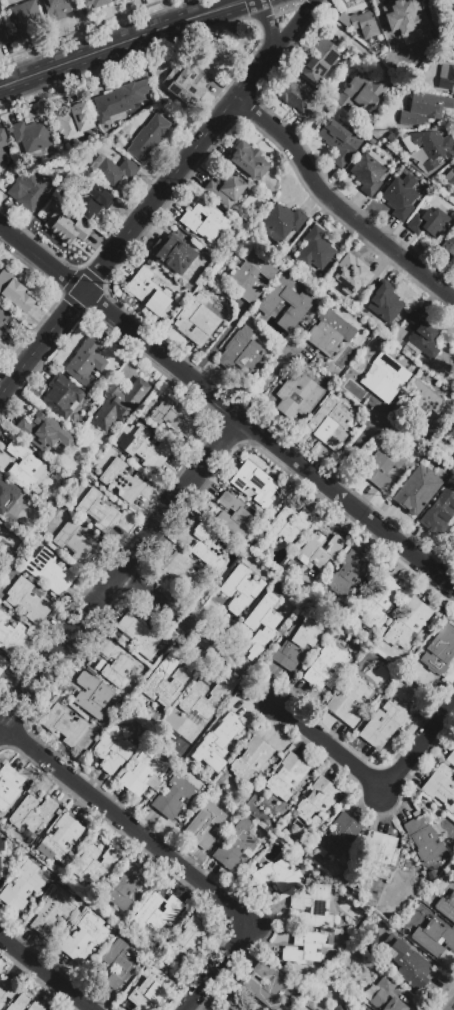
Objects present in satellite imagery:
building: (113, 0)
building: (430, 0)
building: (96, 3)
building: (451, 6)
building: (58, 9)
building: (25, 16)
building: (406, 17)
building: (363, 24)
road: (269, 29)
road: (291, 30)
building: (2, 36)
road: (344, 37)
road: (121, 44)
building: (453, 54)
building: (319, 61)
building: (446, 77)
building: (185, 86)
building: (359, 94)
building: (121, 99)
building: (298, 100)
building: (424, 109)
building: (72, 124)
building: (149, 137)
building: (31, 138)
building: (339, 143)
building: (2, 145)
building: (427, 147)
building: (248, 161)
building: (113, 170)
building: (368, 174)
road: (174, 176)
building: (450, 177)
building: (226, 188)
building: (29, 190)
building: (401, 197)
building: (90, 200)
road: (337, 209)
building: (205, 222)
building: (246, 223)
building: (281, 223)
building: (429, 223)
building: (66, 228)
building: (447, 249)
building: (314, 250)
building: (180, 258)
road: (41, 259)
building: (252, 274)
building: (353, 278)
building: (14, 292)
building: (150, 292)
building: (300, 303)
building: (384, 303)
building: (4, 320)
building: (196, 321)
building: (329, 334)
road: (221, 335)
building: (422, 336)
road: (41, 344)
building: (241, 354)
road: (10, 363)
building: (85, 363)
road: (265, 376)
building: (384, 378)
building: (62, 397)
building: (297, 397)
building: (119, 403)
building: (418, 404)
building: (173, 418)
building: (330, 423)
building: (44, 432)
building: (450, 433)
road: (267, 442)
road: (353, 448)
building: (144, 450)
building: (381, 465)
building: (25, 466)
building: (453, 466)
building: (122, 481)
building: (254, 483)
building: (416, 492)
building: (6, 497)
street lamp: (392, 508)
building: (440, 508)
building: (98, 511)
building: (233, 517)
building: (1, 524)
building: (289, 525)
building: (76, 543)
building: (452, 543)
building: (209, 548)
building: (320, 550)
building: (49, 571)
road: (122, 572)
building: (184, 573)
building: (349, 577)
building: (276, 584)
building: (241, 589)
building: (379, 598)
building: (28, 600)
street lamp: (441, 605)
road: (174, 611)
building: (262, 624)
building: (407, 624)
building: (10, 635)
building: (139, 637)
building: (296, 644)
building: (440, 651)
building: (115, 664)
building: (3, 665)
building: (326, 667)
building: (165, 686)
building: (92, 697)
building: (349, 701)
building: (200, 703)
building: (64, 725)
building: (383, 725)
building: (223, 734)
building: (114, 749)
building: (451, 759)
building: (253, 760)
building: (143, 775)
building: (287, 777)
road: (374, 784)
building: (9, 786)
building: (441, 787)
building: (174, 797)
building: (317, 800)
building: (31, 814)
building: (204, 824)
building: (60, 838)
building: (341, 838)
building: (423, 838)
building: (2, 845)
building: (236, 846)
road: (169, 858)
building: (378, 859)
building: (96, 867)
building: (0, 868)
building: (278, 875)
building: (22, 887)
building: (125, 889)
building: (313, 907)
building: (446, 908)
building: (51, 912)
building: (156, 913)
building: (84, 938)
building: (434, 938)
building: (187, 943)
building: (307, 947)
building: (404, 959)
building: (118, 964)
road: (45, 974)
building: (371, 984)
building: (266, 987)
building: (4, 988)
building: (149, 988)
building: (384, 995)
building: (18, 1003)
building: (236, 1004)
building: (35, 1007)
building: (224, 1008)
building: (339, 1008)
building: (364, 1008)
road: (453, 1008)
building: (367, 1009)

